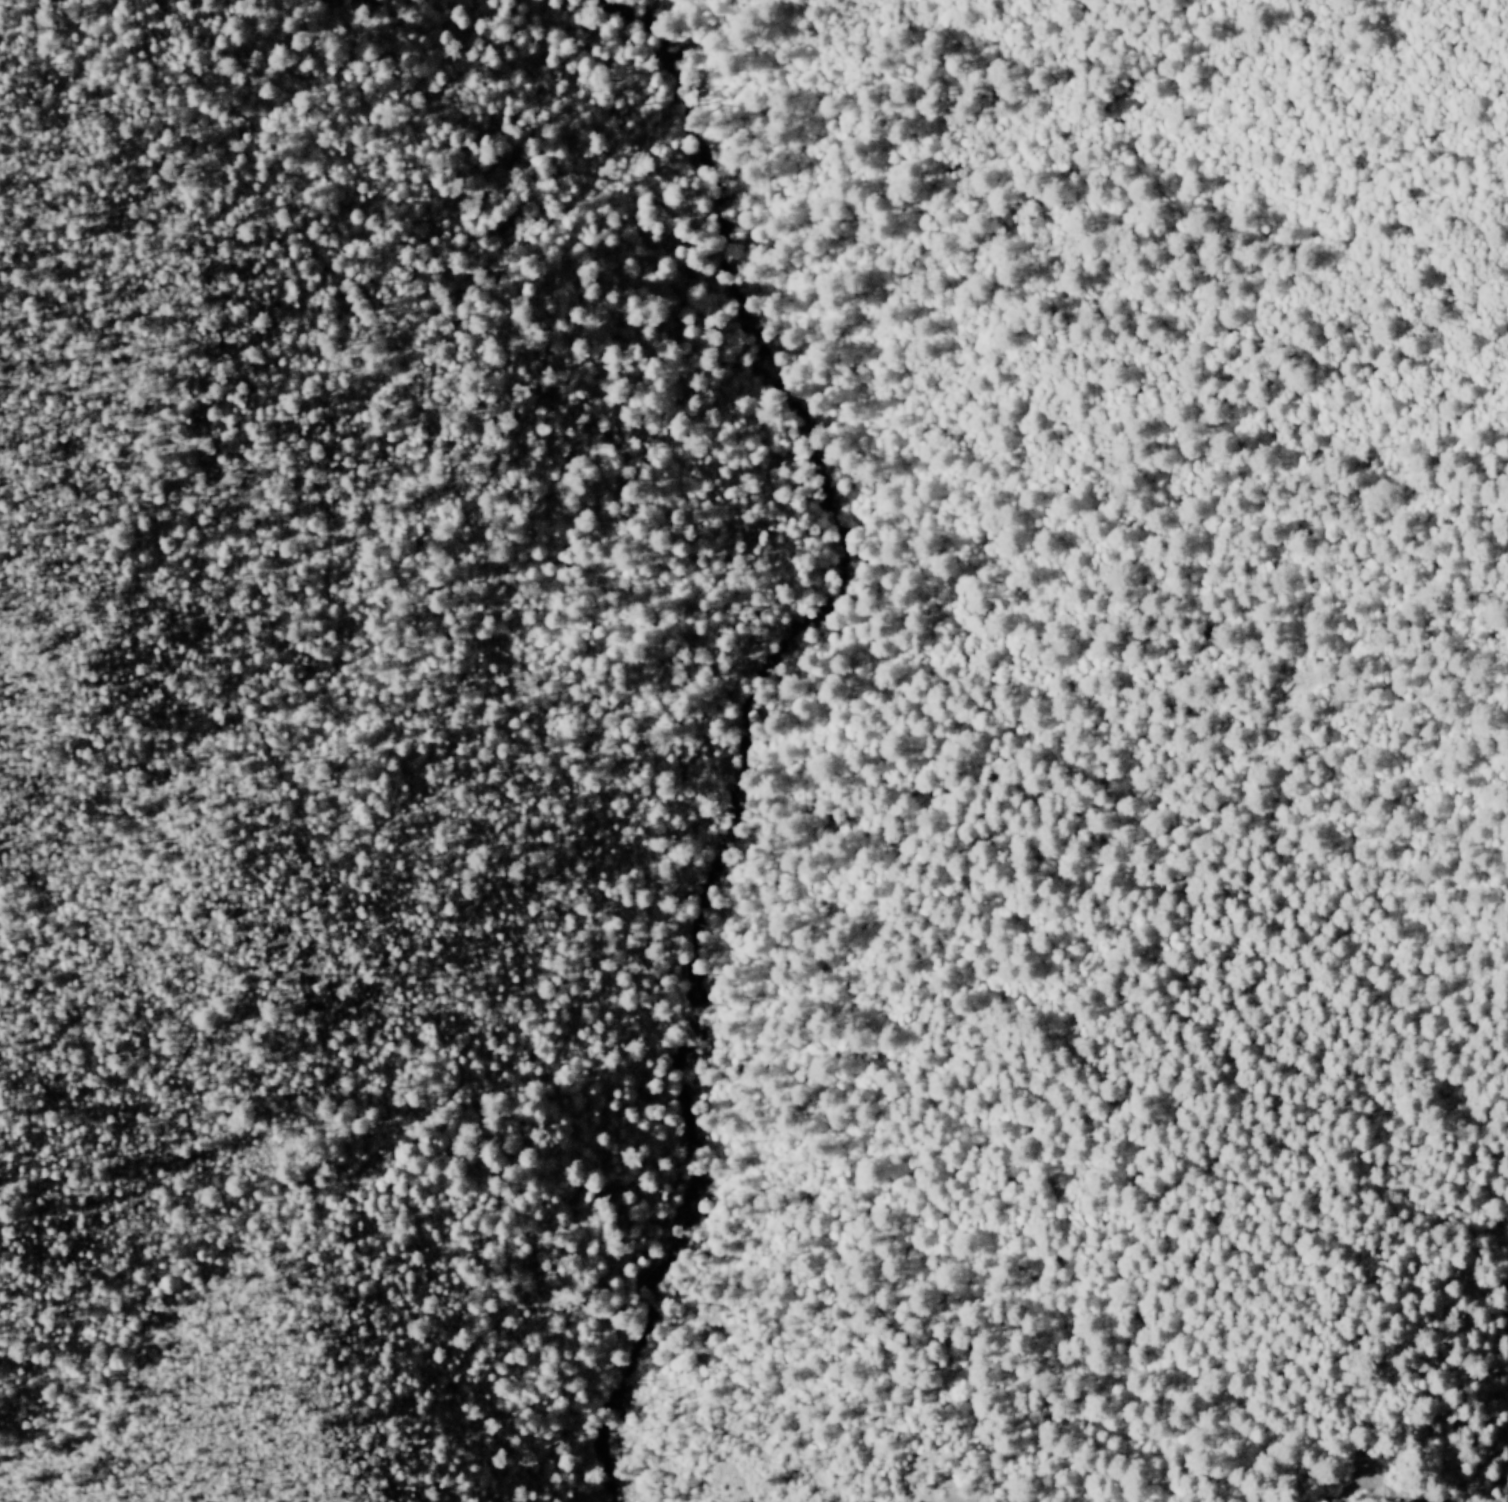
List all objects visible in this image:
road: (1328, 1463)

